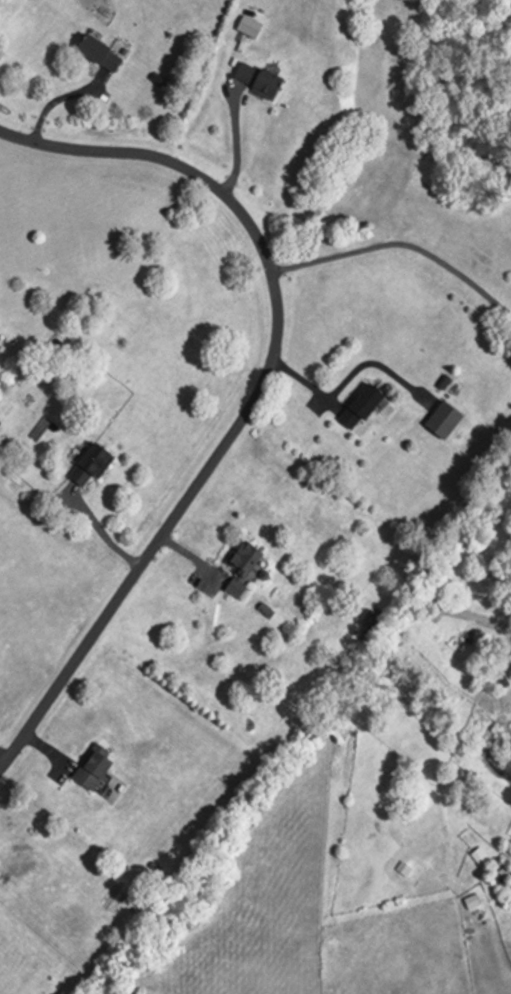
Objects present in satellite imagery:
building: (248, 26)
building: (99, 52)
building: (256, 79)
road: (56, 99)
road: (236, 141)
road: (398, 243)
road: (375, 364)
building: (442, 382)
road: (304, 384)
road: (257, 393)
building: (362, 409)
building: (441, 419)
building: (91, 464)
road: (99, 529)
road: (190, 558)
building: (244, 560)
building: (235, 588)
building: (265, 611)
road: (46, 750)
road: (3, 755)
building: (92, 769)
building: (470, 900)

